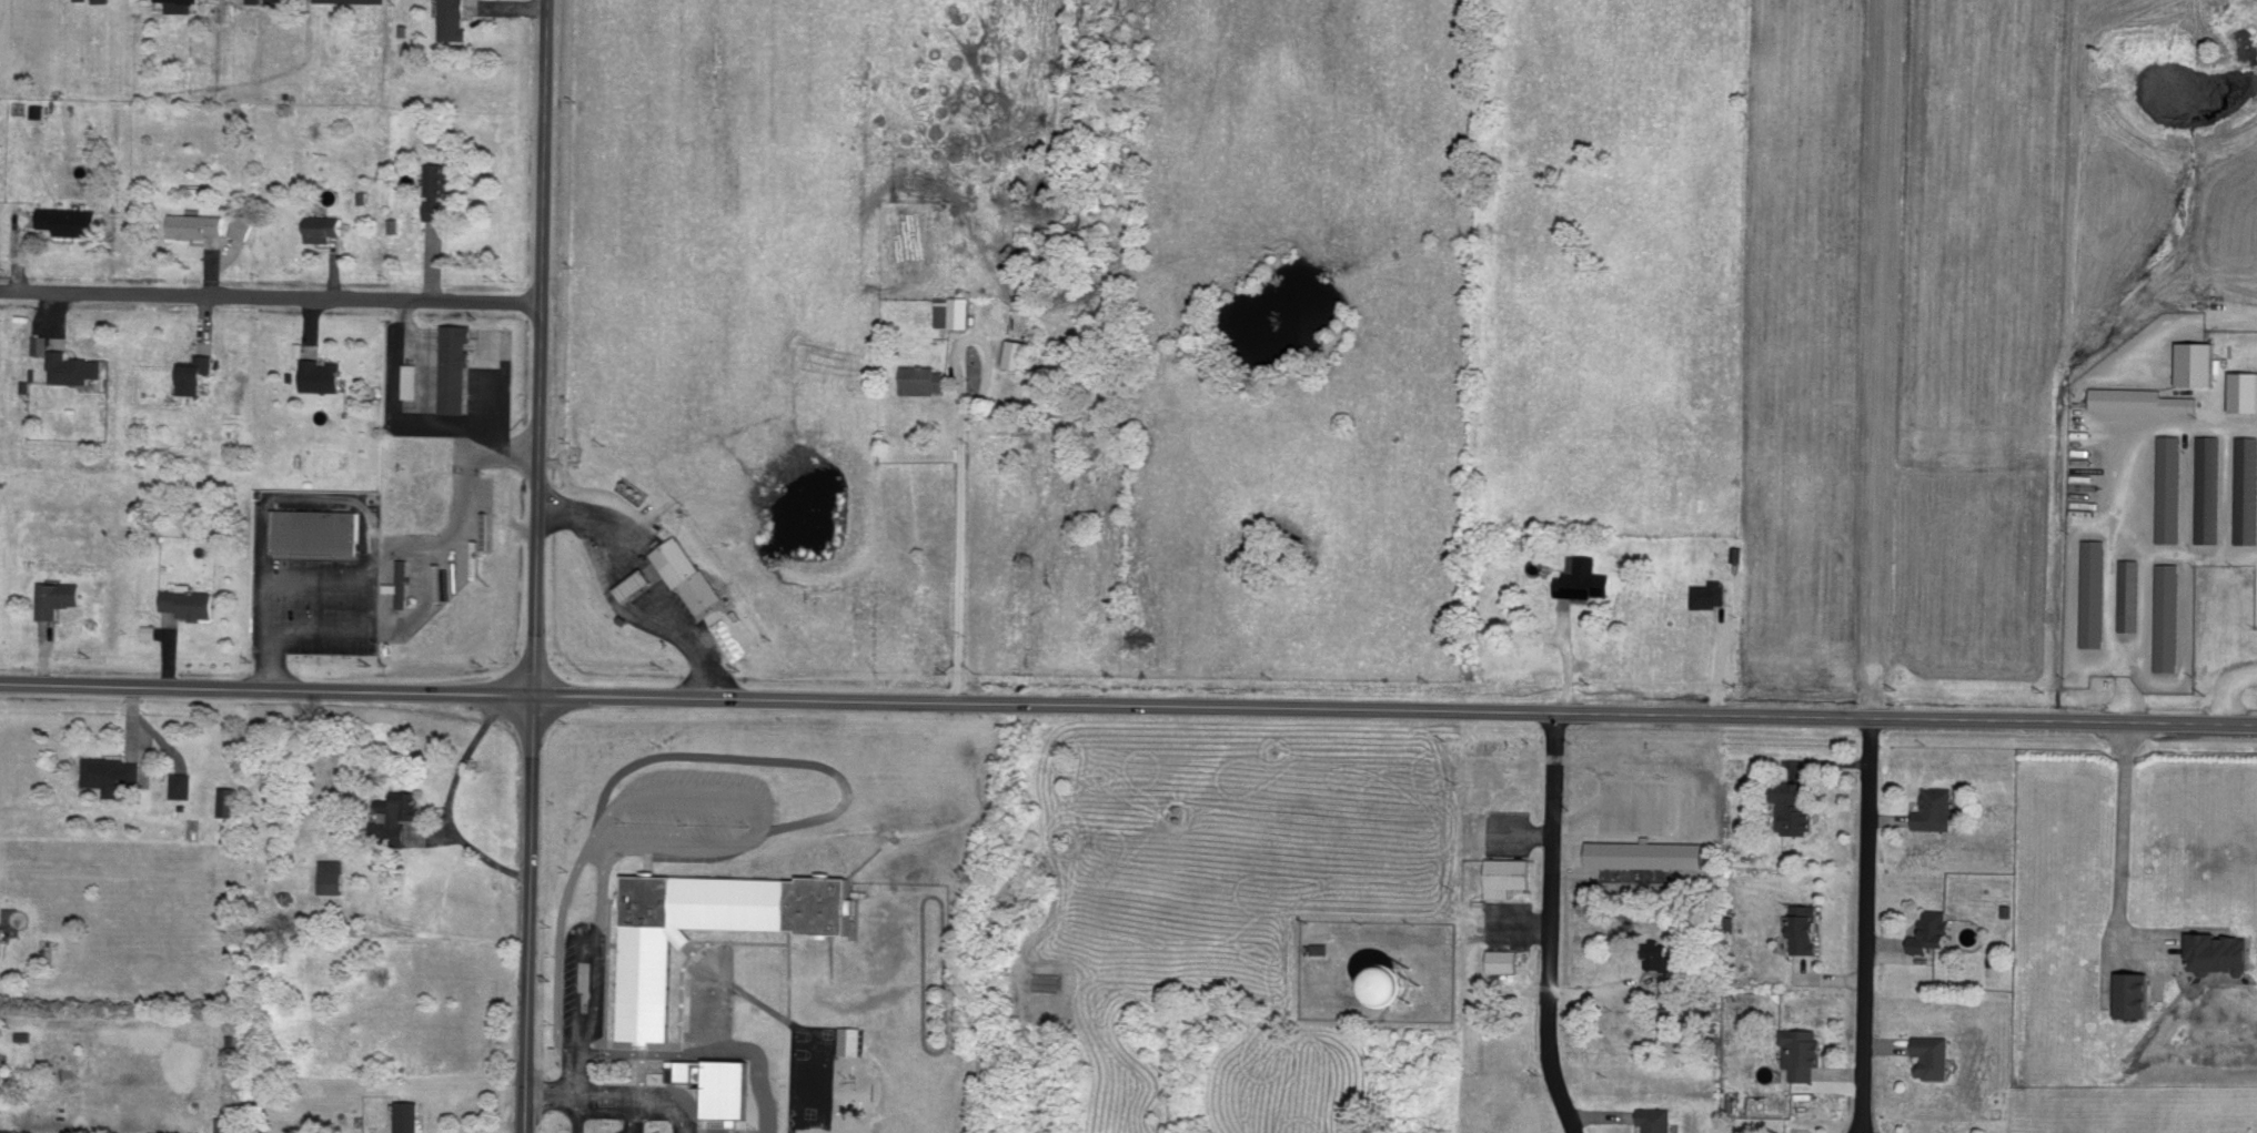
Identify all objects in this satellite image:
building: (103, 0)
building: (255, 0)
building: (372, 0)
building: (274, 1)
building: (181, 4)
building: (454, 19)
building: (39, 109)
building: (437, 188)
building: (71, 220)
building: (195, 224)
building: (242, 224)
building: (394, 224)
building: (324, 226)
road: (271, 297)
building: (953, 310)
road: (2182, 321)
building: (40, 343)
building: (1017, 353)
building: (2199, 362)
building: (457, 365)
building: (73, 366)
building: (199, 373)
building: (322, 374)
building: (413, 378)
building: (925, 378)
building: (2245, 390)
building: (2142, 398)
road: (393, 414)
road: (955, 462)
road: (2137, 483)
building: (2170, 487)
building: (2208, 487)
building: (2246, 488)
building: (321, 530)
road: (536, 566)
building: (687, 573)
building: (1584, 577)
building: (402, 581)
building: (638, 583)
gas station: (633, 585)
road: (636, 589)
building: (2093, 591)
building: (1711, 594)
building: (2129, 594)
building: (58, 597)
building: (190, 600)
road: (427, 600)
building: (2168, 616)
road: (2138, 638)
road: (266, 689)
road: (1395, 709)
building: (112, 772)
building: (182, 785)
building: (230, 800)
road: (446, 801)
building: (1796, 807)
building: (1936, 809)
building: (399, 816)
road: (2124, 831)
road: (586, 852)
building: (1648, 853)
building: (1509, 874)
building: (331, 876)
road: (1549, 924)
road: (1863, 924)
building: (1807, 928)
building: (1933, 930)
building: (2, 940)
building: (1321, 947)
building: (2224, 952)
building: (1662, 954)
building: (1503, 959)
building: (1432, 987)
water tower: (1399, 990)
building: (648, 991)
building: (2137, 994)
building: (850, 1039)
road: (737, 1050)
building: (1803, 1051)
building: (1933, 1055)
road: (577, 1069)
building: (719, 1083)
road: (573, 1090)
road: (643, 1093)
road: (631, 1112)
building: (410, 1116)
building: (1658, 1119)
road: (508, 1130)
road: (628, 1131)

